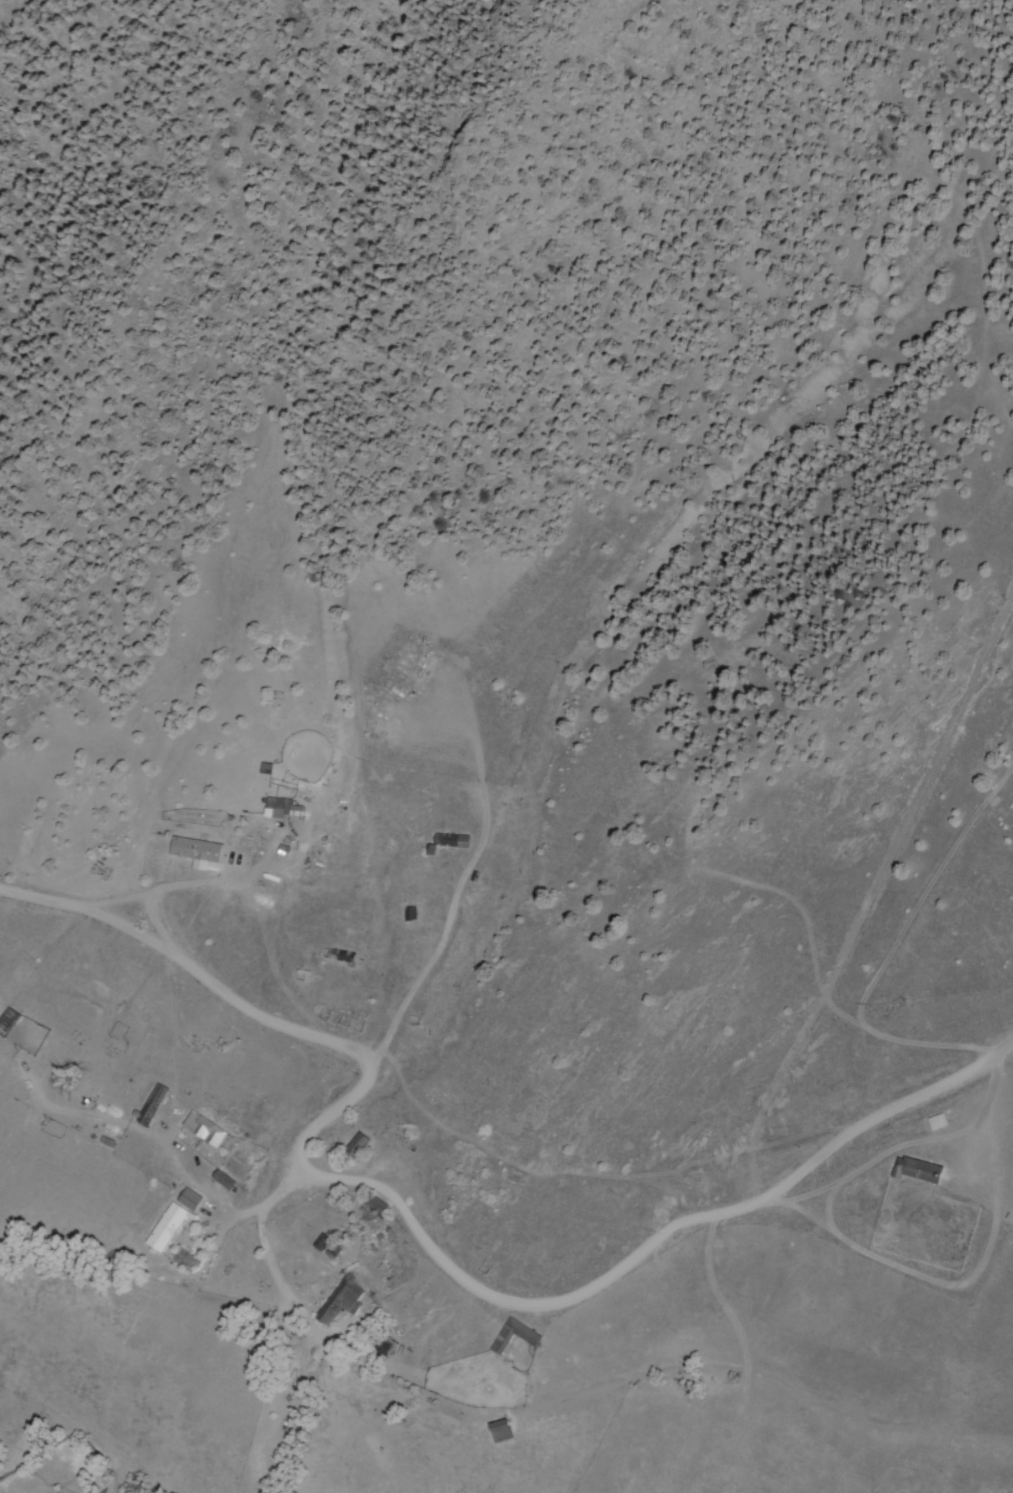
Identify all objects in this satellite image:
building: (282, 808)
building: (451, 840)
building: (196, 853)
building: (10, 1016)
building: (151, 1104)
building: (936, 1122)
building: (203, 1129)
building: (357, 1146)
building: (916, 1170)
building: (189, 1199)
building: (374, 1205)
building: (166, 1227)
building: (327, 1248)
road: (453, 1252)
building: (340, 1302)
building: (501, 1342)
building: (499, 1432)

